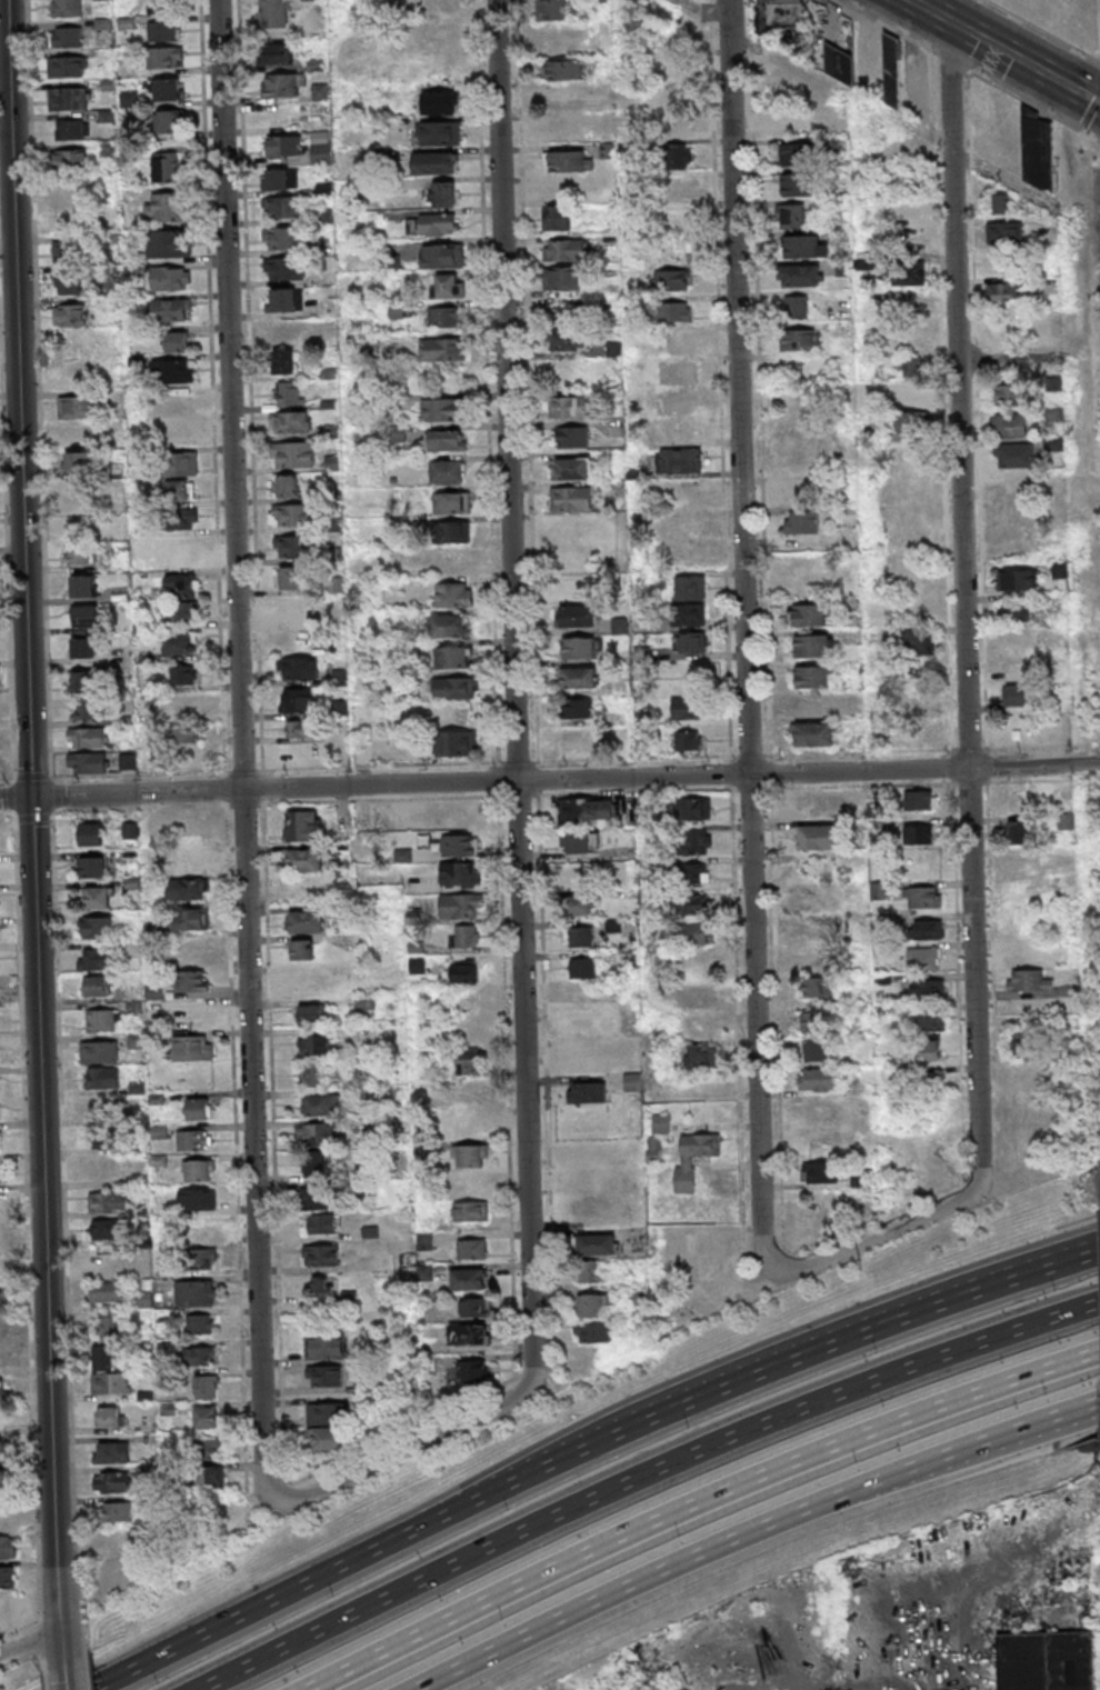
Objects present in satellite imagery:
building: (164, 6)
building: (67, 8)
building: (552, 9)
road: (928, 10)
building: (277, 12)
road: (889, 24)
road: (1042, 29)
building: (162, 30)
building: (814, 33)
building: (66, 37)
building: (437, 40)
building: (279, 52)
building: (164, 57)
road: (952, 58)
road: (1023, 59)
building: (67, 66)
building: (666, 66)
building: (564, 69)
building: (893, 69)
building: (283, 84)
building: (166, 89)
building: (68, 98)
building: (129, 99)
building: (440, 102)
road: (1034, 103)
road: (869, 106)
building: (980, 113)
building: (799, 119)
building: (169, 120)
building: (666, 126)
building: (557, 128)
building: (71, 129)
building: (440, 132)
building: (283, 144)
road: (733, 146)
building: (321, 152)
building: (799, 152)
building: (1038, 152)
building: (679, 156)
building: (71, 159)
building: (569, 160)
building: (436, 162)
building: (166, 167)
building: (280, 178)
building: (800, 184)
building: (677, 186)
building: (442, 193)
building: (998, 203)
building: (166, 207)
building: (282, 207)
building: (791, 216)
building: (557, 217)
building: (70, 222)
building: (432, 223)
building: (1004, 231)
building: (282, 237)
building: (168, 243)
building: (801, 246)
building: (564, 249)
building: (68, 250)
building: (442, 256)
building: (284, 268)
building: (907, 272)
building: (799, 274)
building: (171, 277)
building: (561, 278)
building: (672, 279)
building: (70, 283)
building: (448, 286)
building: (1004, 293)
building: (284, 300)
building: (796, 306)
building: (170, 309)
building: (676, 311)
building: (69, 314)
building: (443, 317)
building: (286, 332)
building: (568, 339)
building: (798, 339)
building: (176, 341)
building: (71, 346)
building: (441, 349)
building: (284, 361)
building: (910, 366)
building: (74, 369)
building: (173, 370)
building: (677, 372)
building: (289, 392)
building: (907, 392)
building: (1007, 393)
building: (678, 403)
building: (568, 406)
building: (74, 407)
building: (441, 409)
building: (1054, 413)
building: (290, 421)
building: (910, 421)
building: (1009, 424)
building: (397, 433)
building: (74, 436)
building: (571, 437)
building: (443, 439)
building: (293, 453)
building: (1013, 454)
building: (679, 459)
building: (78, 461)
building: (177, 463)
building: (571, 468)
building: (446, 471)
building: (287, 486)
building: (180, 490)
building: (83, 492)
building: (570, 498)
building: (451, 502)
building: (289, 514)
building: (180, 518)
building: (78, 521)
building: (801, 521)
building: (452, 531)
building: (292, 544)
building: (172, 552)
building: (79, 553)
building: (1059, 570)
building: (291, 577)
building: (1019, 579)
building: (181, 584)
building: (82, 586)
building: (690, 588)
road: (962, 593)
building: (453, 594)
building: (181, 611)
building: (1014, 611)
building: (688, 614)
building: (808, 614)
building: (577, 616)
building: (86, 619)
building: (450, 623)
building: (691, 641)
building: (913, 641)
building: (179, 643)
building: (812, 646)
building: (82, 647)
building: (579, 647)
building: (451, 657)
building: (297, 668)
building: (1014, 670)
building: (181, 674)
building: (812, 676)
building: (578, 677)
building: (87, 681)
building: (454, 687)
road: (512, 691)
building: (1016, 696)
building: (296, 700)
building: (182, 704)
building: (919, 706)
building: (686, 707)
building: (94, 708)
building: (577, 708)
building: (811, 708)
building: (299, 728)
building: (814, 733)
building: (183, 734)
building: (88, 737)
building: (574, 738)
building: (688, 739)
building: (456, 742)
road: (240, 757)
building: (87, 762)
road: (549, 780)
road: (748, 790)
building: (920, 799)
building: (1017, 801)
building: (822, 803)
building: (694, 808)
building: (586, 811)
building: (1066, 821)
building: (303, 824)
building: (131, 829)
road: (31, 831)
building: (1018, 831)
building: (91, 833)
building: (919, 833)
building: (818, 837)
building: (578, 841)
building: (694, 841)
building: (459, 844)
building: (303, 859)
building: (192, 862)
building: (93, 866)
building: (690, 872)
building: (460, 873)
building: (187, 888)
building: (100, 897)
building: (924, 897)
building: (808, 898)
building: (580, 903)
building: (688, 903)
building: (460, 904)
building: (190, 919)
building: (306, 921)
building: (98, 926)
building: (927, 929)
building: (817, 931)
building: (693, 932)
building: (462, 936)
building: (579, 936)
building: (302, 949)
building: (191, 952)
building: (923, 958)
building: (96, 959)
building: (582, 968)
building: (463, 971)
building: (191, 980)
building: (310, 980)
building: (1029, 980)
building: (96, 984)
building: (816, 986)
building: (927, 989)
building: (696, 996)
building: (312, 1013)
building: (191, 1017)
building: (103, 1019)
building: (931, 1020)
building: (1022, 1041)
building: (313, 1044)
building: (192, 1047)
building: (814, 1048)
building: (929, 1050)
building: (99, 1051)
building: (699, 1057)
building: (468, 1060)
building: (583, 1060)
building: (1027, 1072)
building: (312, 1073)
building: (102, 1077)
building: (818, 1078)
building: (632, 1081)
building: (930, 1084)
building: (466, 1091)
building: (587, 1092)
building: (322, 1103)
building: (198, 1108)
building: (930, 1117)
building: (660, 1122)
building: (313, 1134)
building: (106, 1138)
building: (192, 1139)
building: (652, 1149)
building: (469, 1156)
building: (693, 1158)
building: (314, 1162)
building: (104, 1169)
building: (200, 1170)
building: (820, 1171)
building: (320, 1198)
building: (866, 1198)
building: (196, 1199)
building: (108, 1201)
building: (823, 1207)
building: (470, 1210)
building: (320, 1223)
building: (103, 1228)
building: (201, 1228)
road: (884, 1231)
building: (699, 1242)
building: (594, 1244)
building: (470, 1248)
building: (320, 1256)
building: (201, 1259)
building: (103, 1261)
building: (707, 1268)
building: (590, 1271)
building: (469, 1278)
road: (1022, 1284)
building: (328, 1288)
building: (106, 1291)
building: (196, 1292)
building: (143, 1298)
building: (2, 1301)
building: (593, 1304)
building: (473, 1307)
building: (199, 1323)
building: (109, 1327)
building: (1, 1330)
building: (592, 1331)
building: (469, 1333)
building: (324, 1346)
building: (197, 1356)
building: (104, 1357)
building: (1, 1358)
building: (473, 1370)
building: (323, 1374)
building: (110, 1382)
building: (206, 1387)
building: (2, 1394)
building: (109, 1416)
building: (206, 1417)
building: (328, 1427)
road: (977, 1444)
road: (410, 1446)
building: (210, 1448)
building: (4, 1452)
building: (111, 1452)
building: (210, 1474)
building: (0, 1480)
road: (641, 1481)
building: (111, 1482)
road: (518, 1490)
road: (693, 1509)
building: (116, 1511)
building: (109, 1539)
building: (7, 1547)
building: (7, 1577)
road: (639, 1588)
road: (29, 1642)
building: (1047, 1662)
road: (63, 1676)

